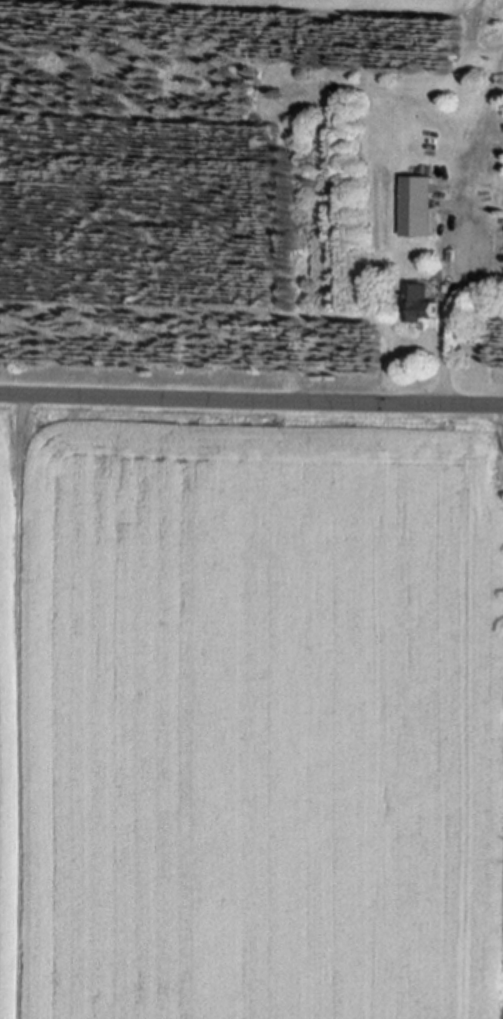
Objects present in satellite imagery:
building: (425, 202)
road: (464, 228)
building: (427, 299)
road: (251, 395)

